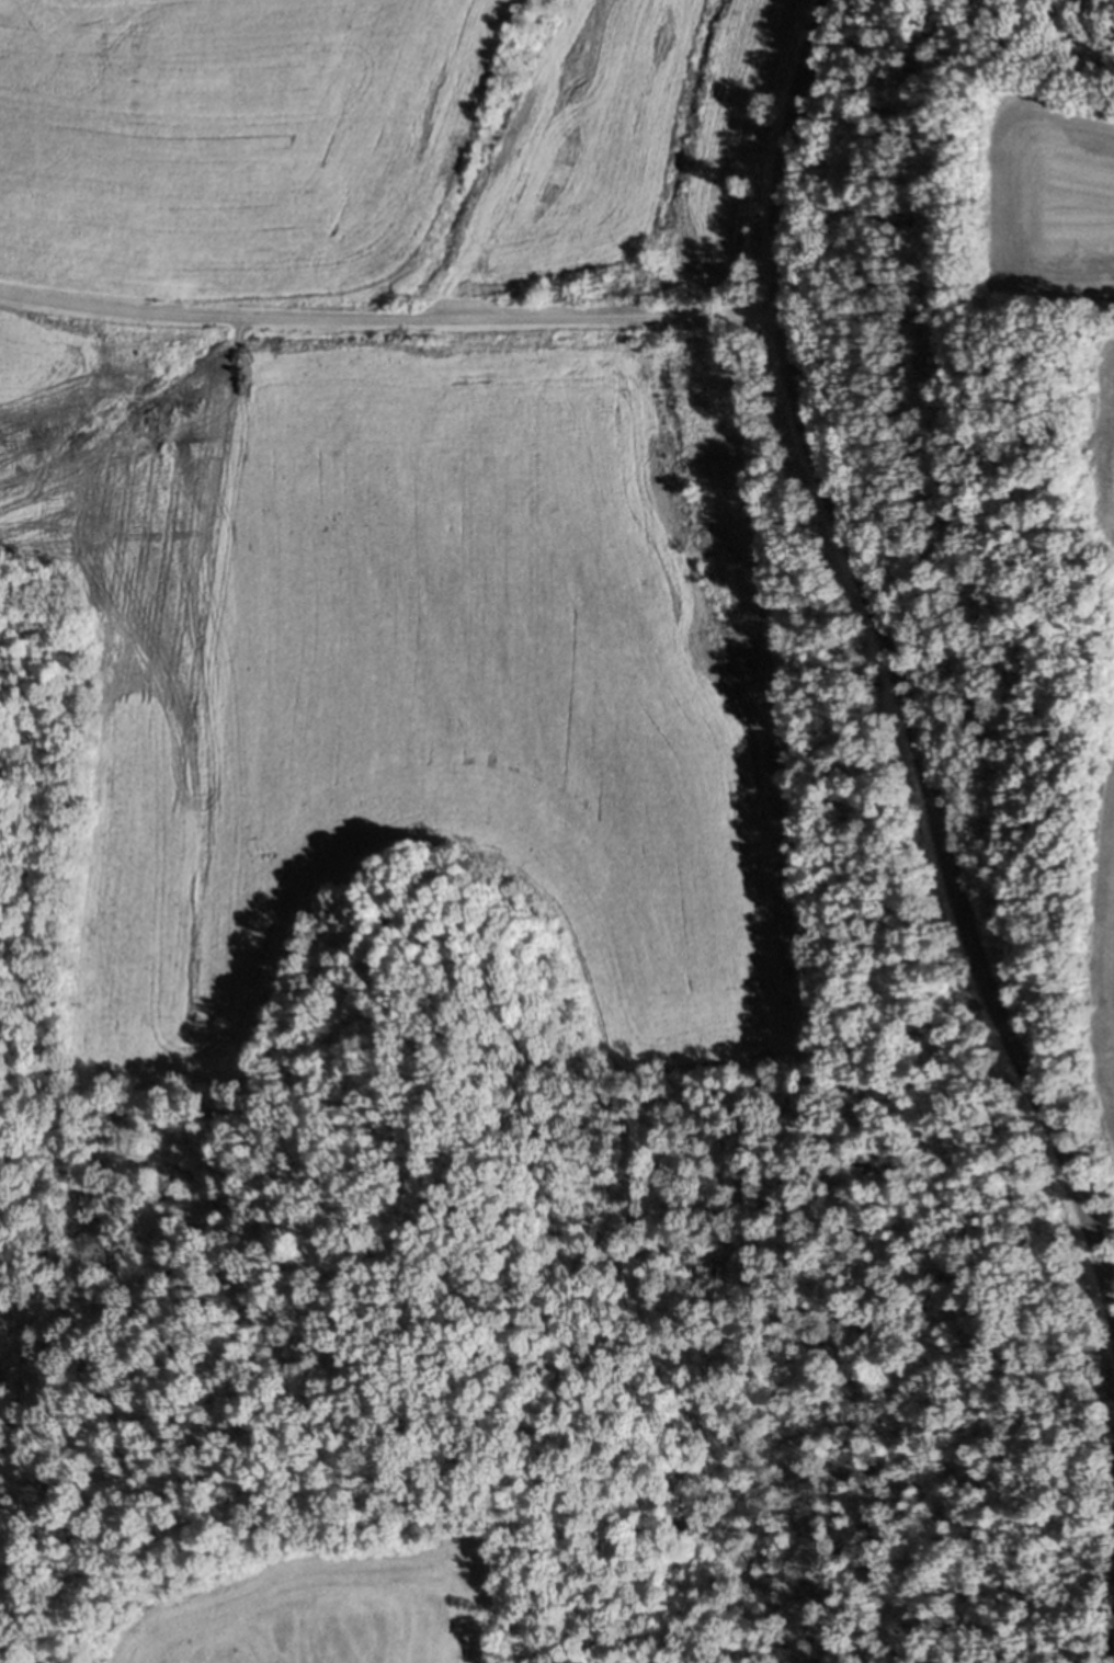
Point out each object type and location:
road: (391, 320)
road: (895, 661)

